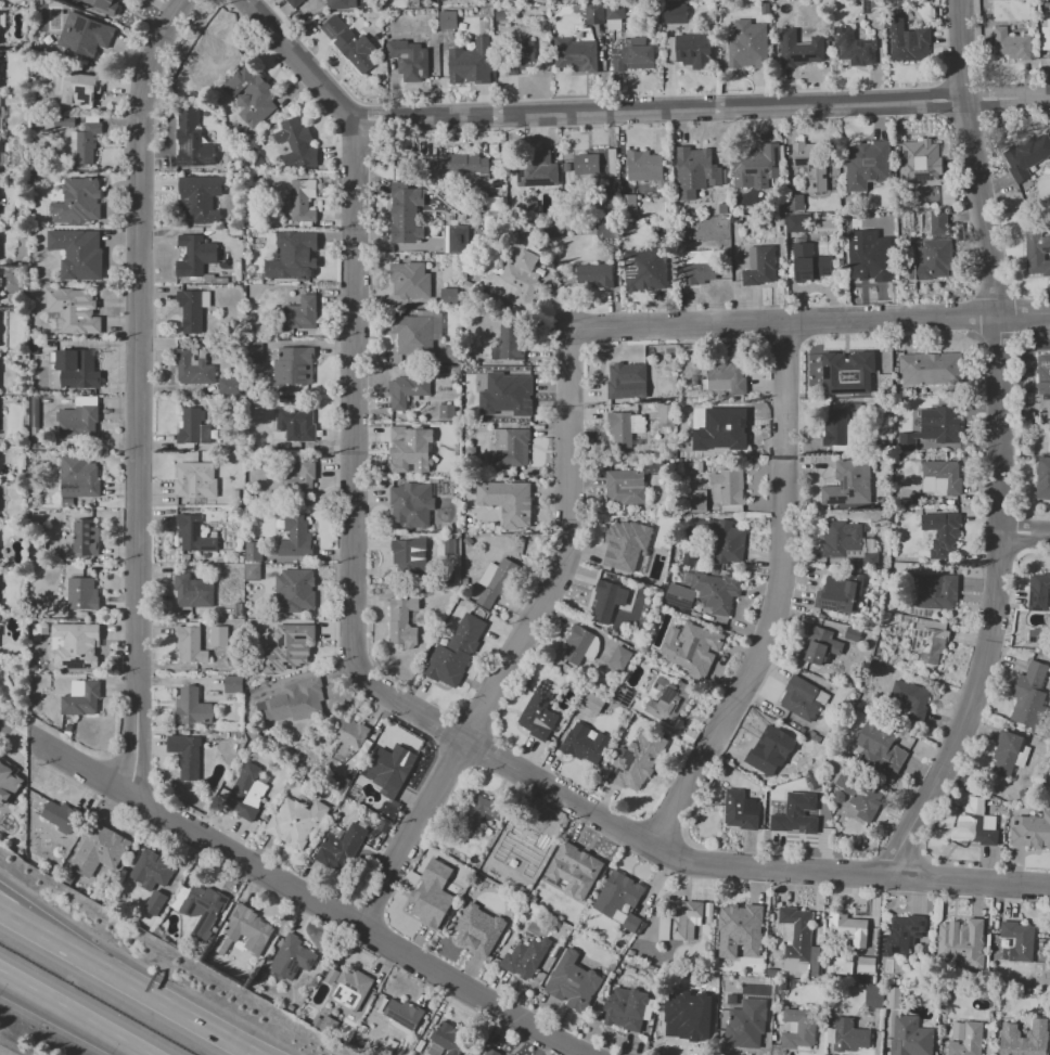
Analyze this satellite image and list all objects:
building: (294, 3)
building: (341, 3)
building: (103, 4)
building: (614, 11)
building: (594, 13)
building: (675, 13)
building: (447, 20)
rooftop solar panel: (78, 24)
rooftop solar panel: (91, 26)
rooftop solar panel: (843, 27)
rooftop solar panel: (330, 30)
building: (84, 36)
rooftop solar panel: (836, 37)
rooftop solar panel: (850, 37)
building: (1046, 38)
building: (912, 41)
building: (351, 43)
rooftop solar panel: (860, 43)
building: (1011, 43)
building: (855, 44)
building: (747, 46)
building: (802, 49)
rooftop solar panel: (843, 49)
building: (694, 50)
rooftop solar panel: (871, 53)
building: (575, 54)
building: (520, 55)
building: (636, 56)
building: (212, 59)
building: (409, 59)
rooftop solar panel: (802, 59)
building: (473, 60)
building: (79, 91)
rooftop solar panel: (80, 94)
building: (251, 95)
road: (622, 114)
building: (192, 141)
building: (86, 143)
building: (294, 143)
rooftop solar panel: (185, 146)
building: (1026, 154)
rooftop solar panel: (206, 159)
rooftop solar panel: (180, 160)
building: (924, 160)
building: (755, 164)
building: (811, 164)
building: (463, 166)
building: (589, 166)
building: (643, 166)
building: (702, 166)
building: (533, 168)
building: (869, 168)
rooftop solar panel: (753, 171)
building: (201, 198)
building: (304, 201)
building: (78, 202)
building: (794, 202)
building: (406, 220)
building: (937, 221)
building: (797, 223)
building: (456, 239)
rooftop solar panel: (1049, 249)
building: (1036, 252)
building: (77, 253)
building: (195, 255)
building: (293, 256)
building: (810, 259)
building: (931, 260)
building: (761, 265)
building: (870, 266)
building: (701, 269)
building: (645, 270)
building: (596, 276)
building: (517, 279)
building: (409, 280)
building: (449, 295)
building: (75, 310)
building: (191, 310)
building: (303, 312)
road: (809, 326)
building: (414, 334)
building: (508, 344)
rooftop solar panel: (1043, 363)
building: (194, 366)
building: (298, 366)
building: (78, 369)
building: (930, 369)
building: (846, 372)
building: (1042, 372)
building: (728, 373)
building: (626, 381)
rooftop solar panel: (1042, 381)
building: (716, 384)
building: (228, 386)
building: (407, 390)
building: (512, 393)
road: (140, 397)
road: (356, 399)
building: (79, 423)
building: (297, 424)
building: (195, 427)
building: (835, 427)
building: (933, 427)
building: (626, 429)
road: (998, 447)
building: (1049, 447)
building: (510, 448)
building: (409, 453)
building: (79, 477)
building: (940, 477)
building: (1042, 477)
building: (196, 480)
building: (300, 481)
building: (848, 484)
building: (625, 487)
building: (729, 488)
building: (508, 500)
building: (697, 501)
building: (412, 503)
rooftop solar panel: (193, 531)
building: (940, 533)
road: (1025, 533)
building: (196, 535)
building: (295, 537)
building: (87, 539)
building: (726, 542)
building: (846, 542)
building: (625, 544)
rooftop solar panel: (204, 548)
building: (253, 551)
building: (410, 552)
building: (252, 571)
building: (497, 581)
building: (297, 588)
building: (194, 591)
building: (716, 591)
building: (1038, 591)
building: (936, 592)
building: (84, 593)
building: (838, 593)
building: (679, 595)
building: (606, 601)
road: (782, 603)
rooftop solar panel: (825, 605)
rooftop solar panel: (832, 606)
rooftop solar panel: (841, 607)
building: (402, 620)
building: (218, 635)
building: (1037, 635)
building: (577, 644)
building: (75, 645)
building: (192, 645)
road: (520, 645)
building: (819, 645)
building: (293, 646)
building: (692, 647)
building: (457, 651)
building: (619, 657)
building: (232, 683)
rooftop solar panel: (667, 694)
building: (1028, 695)
building: (909, 697)
building: (84, 698)
rooftop solar panel: (628, 698)
building: (802, 698)
building: (667, 700)
building: (292, 703)
rooftop solar panel: (677, 705)
building: (193, 707)
road: (24, 711)
building: (538, 711)
road: (4, 725)
building: (349, 732)
building: (585, 744)
rooftop solar panel: (637, 744)
building: (880, 750)
building: (765, 752)
building: (1008, 752)
building: (187, 756)
rooftop solar panel: (625, 758)
building: (637, 761)
building: (392, 765)
building: (751, 771)
rooftop solar panel: (615, 773)
building: (7, 782)
building: (247, 793)
building: (860, 796)
building: (740, 810)
building: (481, 811)
building: (795, 814)
building: (61, 815)
building: (296, 822)
building: (978, 825)
building: (1030, 831)
building: (532, 838)
building: (348, 844)
building: (98, 850)
road: (681, 860)
building: (578, 866)
building: (149, 871)
building: (618, 893)
rooftop solar panel: (222, 901)
road: (309, 901)
building: (153, 902)
building: (430, 904)
rooftop solar panel: (191, 905)
rooftop solar panel: (203, 905)
road: (26, 908)
building: (203, 909)
building: (745, 917)
building: (680, 921)
road: (24, 922)
building: (848, 928)
building: (247, 929)
building: (798, 932)
building: (902, 935)
building: (475, 936)
building: (1019, 937)
building: (961, 942)
building: (291, 957)
building: (527, 960)
rooftop solar panel: (308, 962)
road: (97, 964)
rooftop solar panel: (291, 966)
building: (574, 983)
rooftop solar panel: (346, 986)
building: (347, 988)
rooftop solar panel: (571, 989)
rooftop solar panel: (350, 990)
rooftop solar panel: (334, 993)
building: (873, 995)
building: (893, 998)
rooftop solar panel: (353, 1001)
building: (627, 1006)
road: (69, 1015)
building: (404, 1015)
rooftop solar panel: (399, 1019)
road: (200, 1024)
building: (746, 1024)
building: (686, 1025)
building: (798, 1028)
building: (849, 1034)
building: (911, 1037)
building: (452, 1039)
building: (1025, 1039)
building: (970, 1041)
building: (492, 1053)

